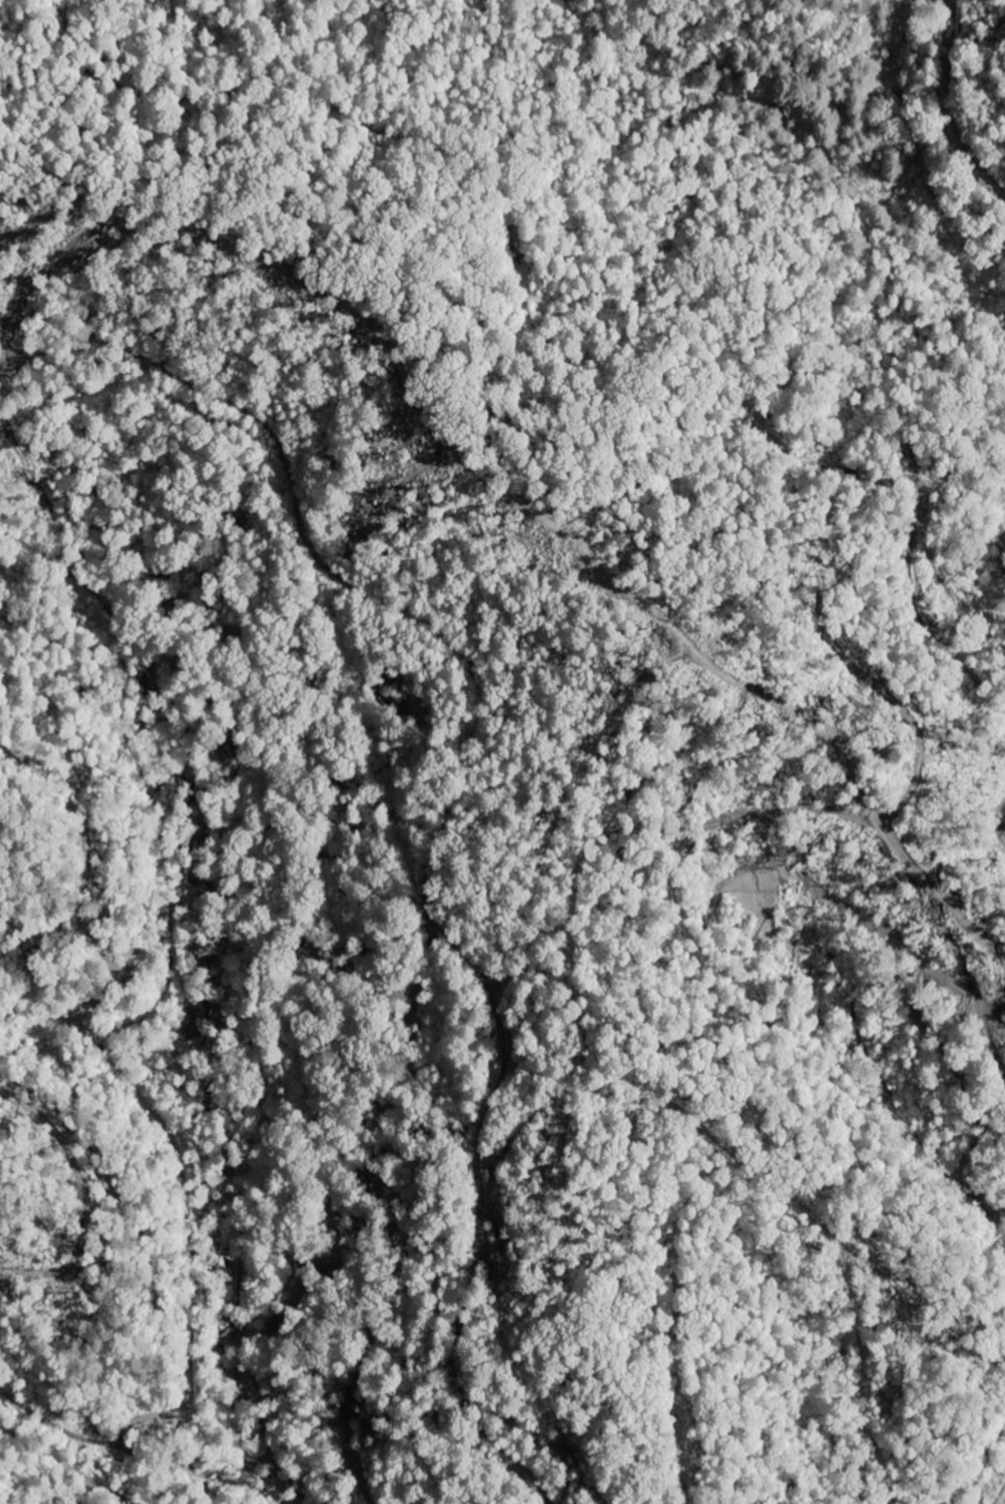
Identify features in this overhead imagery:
road: (948, 108)
road: (181, 1016)

